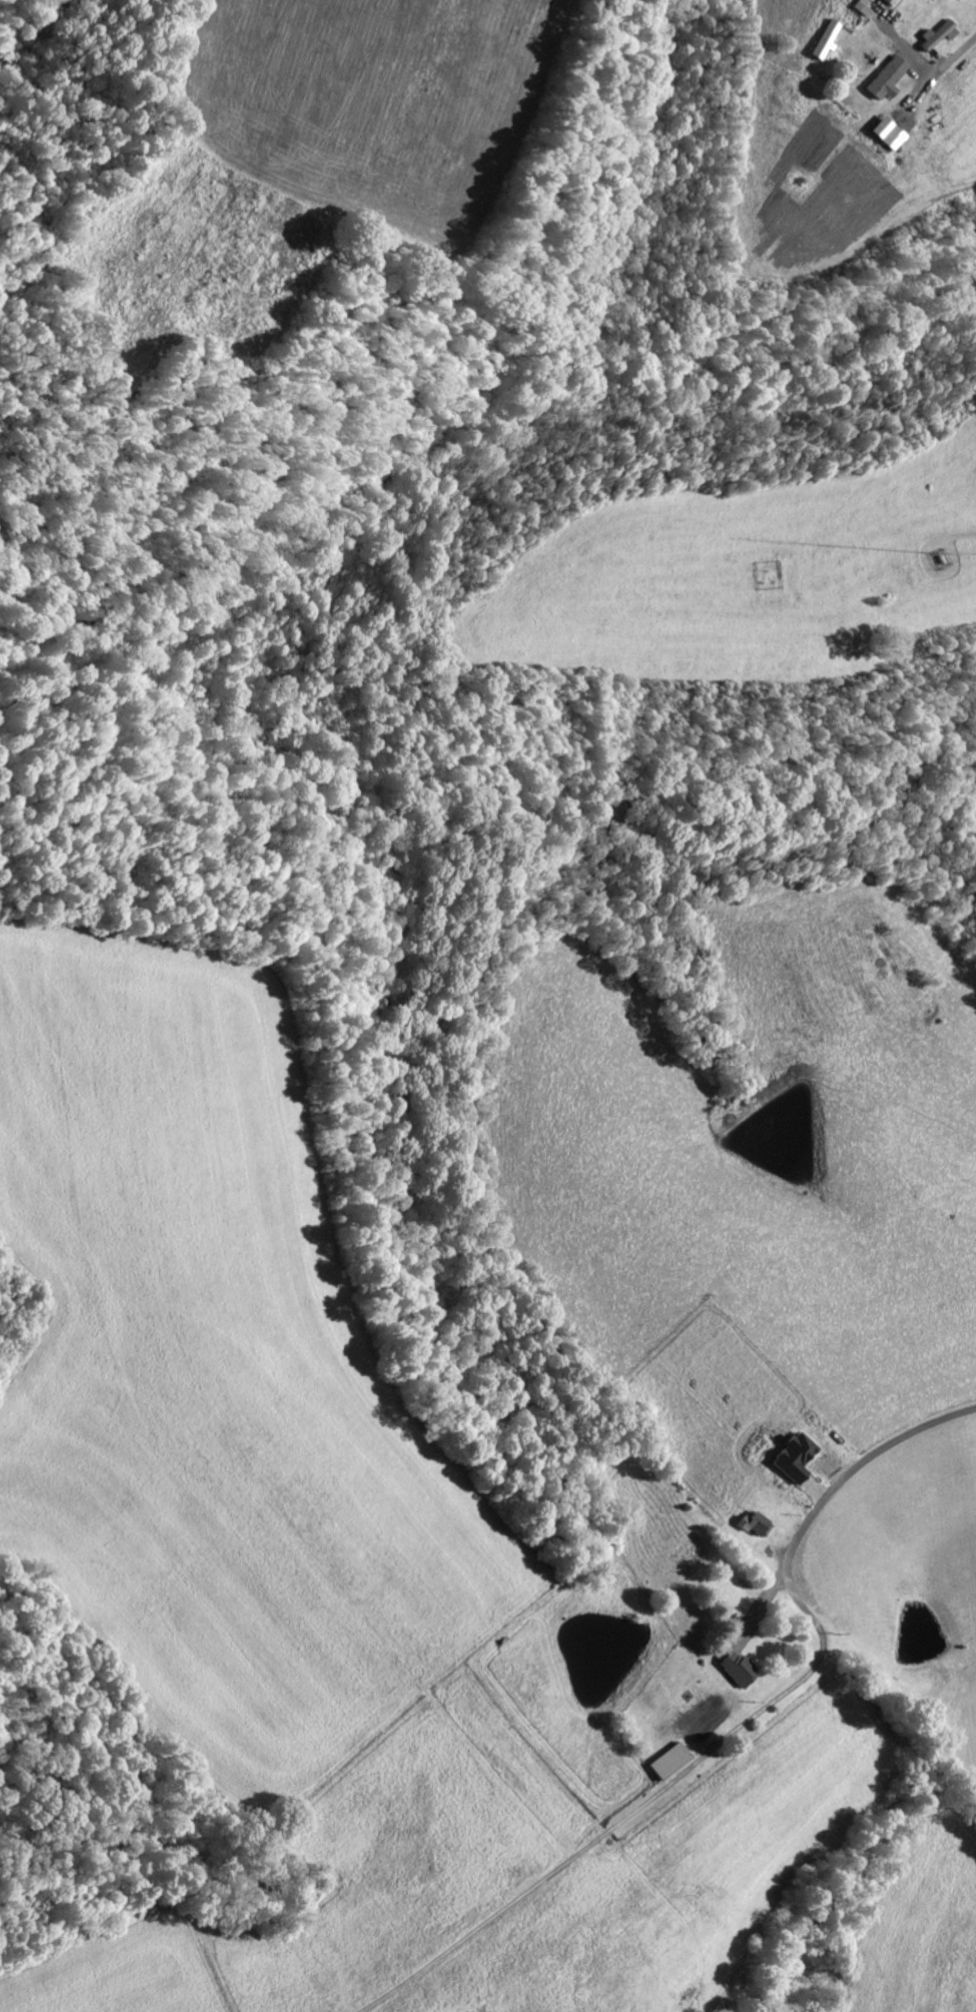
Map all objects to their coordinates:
building: (888, 2)
building: (934, 36)
building: (826, 39)
road: (953, 59)
building: (883, 78)
building: (884, 134)
road: (851, 1475)
building: (754, 1525)
building: (735, 1668)
building: (666, 1762)

